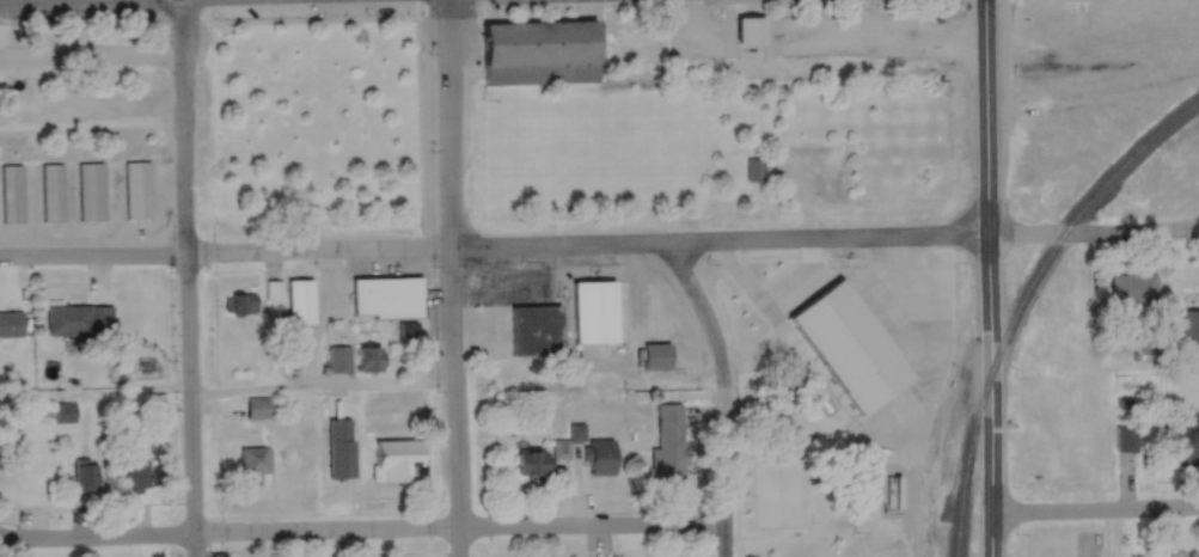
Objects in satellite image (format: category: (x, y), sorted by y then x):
building: (751, 27)
building: (540, 53)
road: (181, 60)
road: (990, 96)
road: (91, 123)
park: (313, 123)
park: (715, 148)
road: (184, 166)
building: (754, 169)
building: (137, 190)
building: (91, 191)
building: (51, 192)
building: (11, 194)
road: (587, 201)
road: (1094, 231)
road: (506, 246)
road: (11, 256)
road: (453, 277)
building: (1133, 289)
building: (386, 296)
railway: (1023, 299)
building: (300, 301)
building: (244, 304)
building: (594, 312)
building: (79, 320)
building: (11, 324)
building: (534, 331)
building: (406, 333)
building: (656, 356)
building: (339, 359)
building: (371, 359)
road: (990, 374)
road: (1181, 374)
road: (189, 384)
road: (722, 394)
road: (323, 396)
building: (256, 409)
building: (65, 412)
building: (577, 434)
building: (1187, 437)
building: (668, 439)
building: (1125, 439)
building: (601, 458)
building: (540, 459)
building: (397, 460)
building: (253, 465)
building: (341, 466)
building: (135, 476)
park: (808, 476)
building: (85, 477)
road: (1094, 514)
road: (366, 528)
road: (5, 535)
building: (1185, 553)

